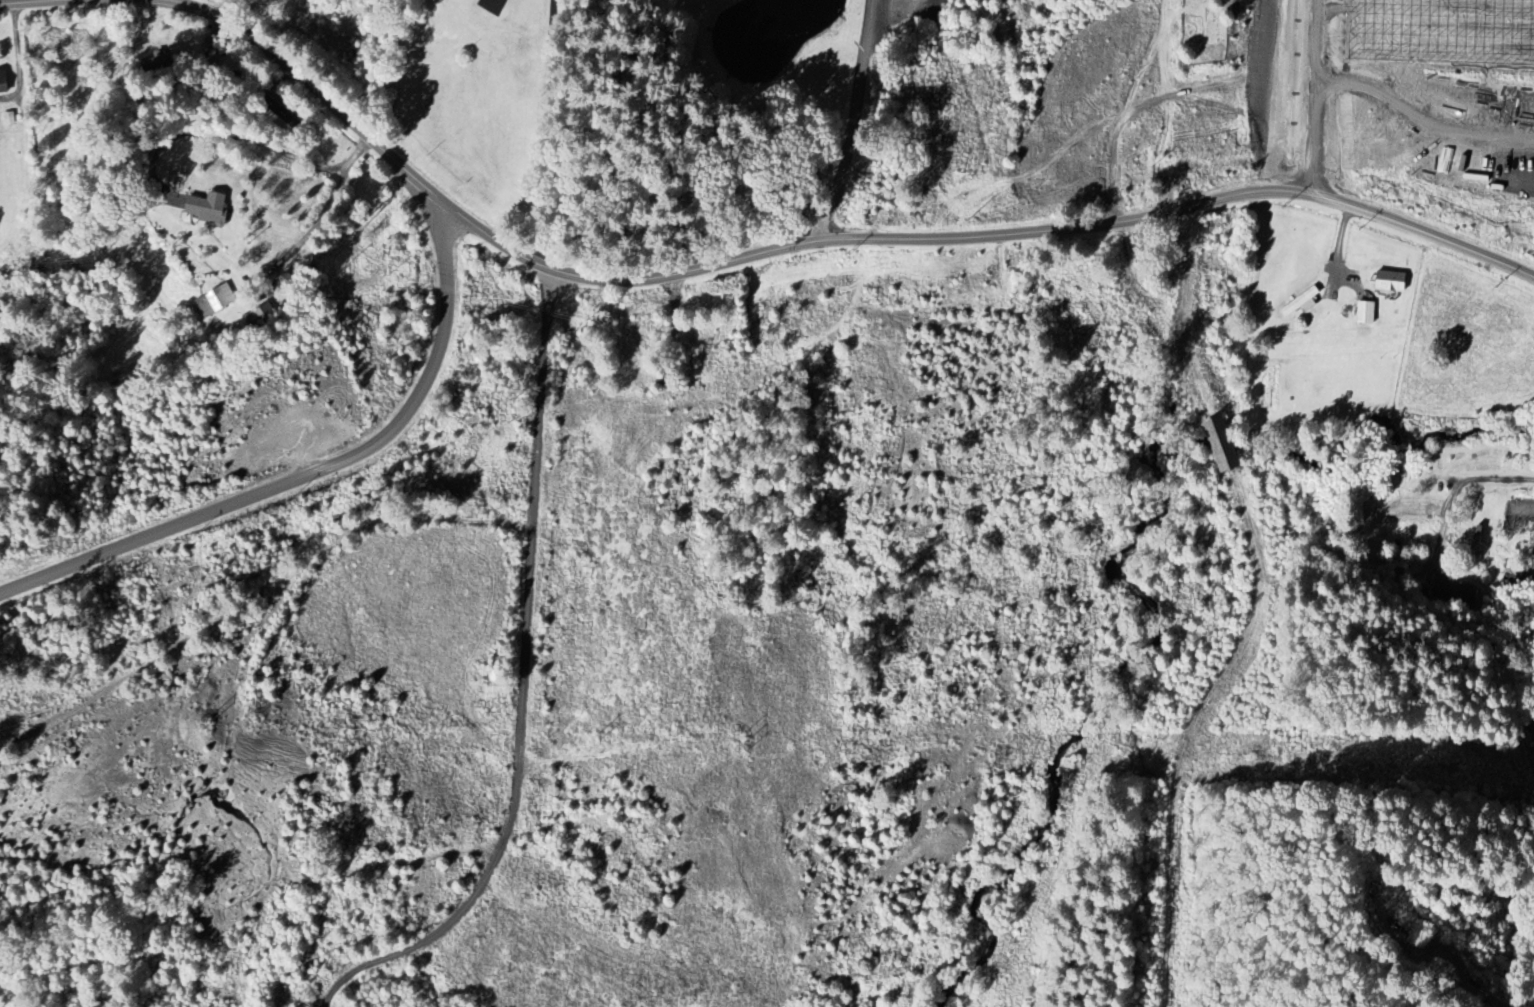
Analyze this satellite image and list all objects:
road: (18, 1)
park: (1203, 31)
building: (162, 61)
road: (1239, 72)
building: (4, 82)
road: (853, 121)
road: (239, 137)
building: (209, 208)
road: (694, 208)
road: (314, 223)
road: (817, 240)
building: (1391, 283)
building: (215, 301)
building: (1301, 302)
building: (1366, 312)
building: (260, 317)
building: (1223, 450)
road: (311, 473)
road: (1454, 483)
building: (1455, 590)
road: (1256, 611)
road: (1531, 1006)

